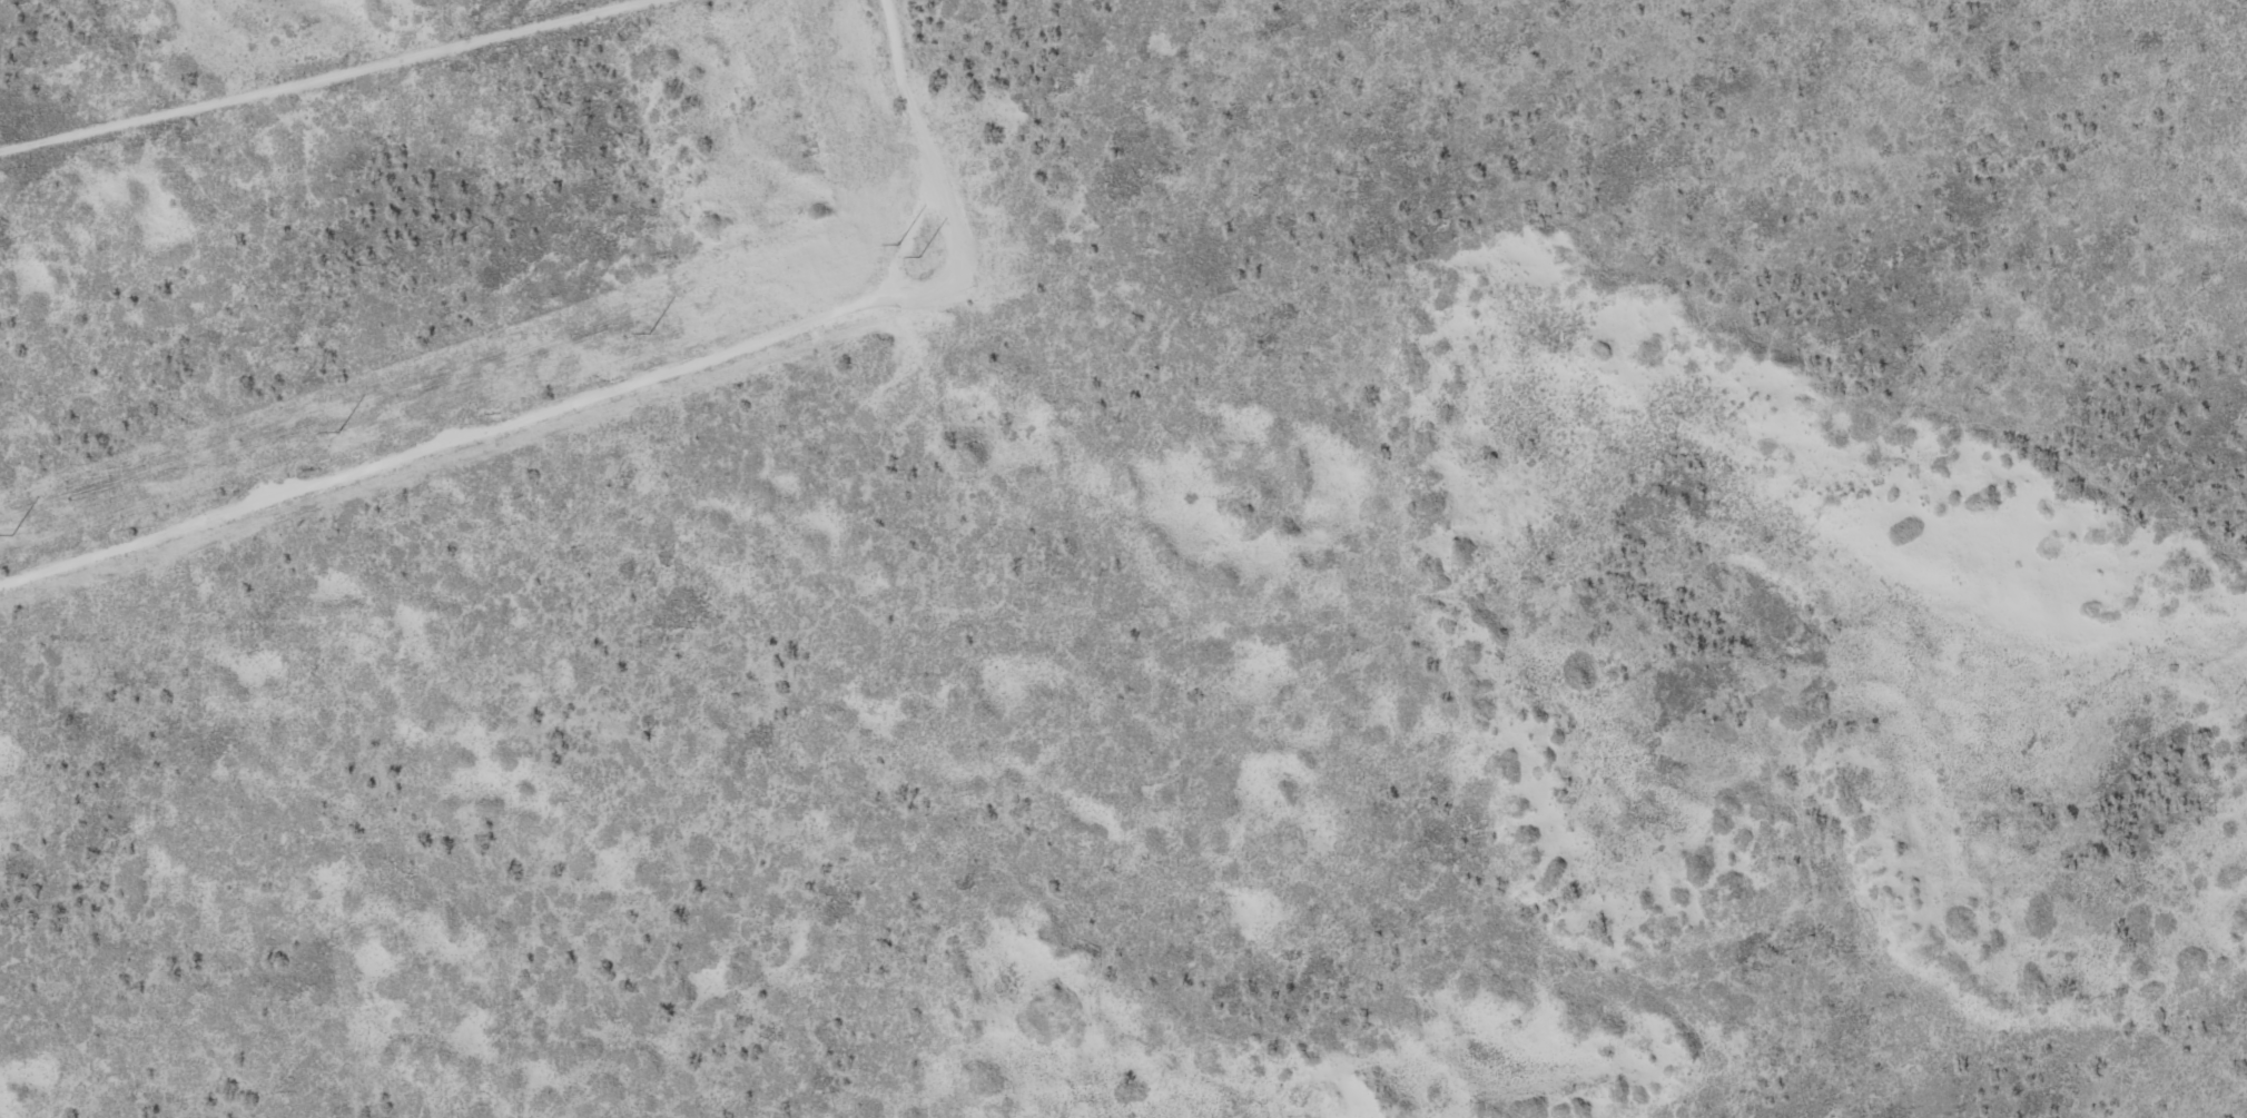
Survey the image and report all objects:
road: (328, 75)
power tower: (907, 246)
power tower: (650, 333)
power tower: (337, 433)
power tower: (11, 533)

